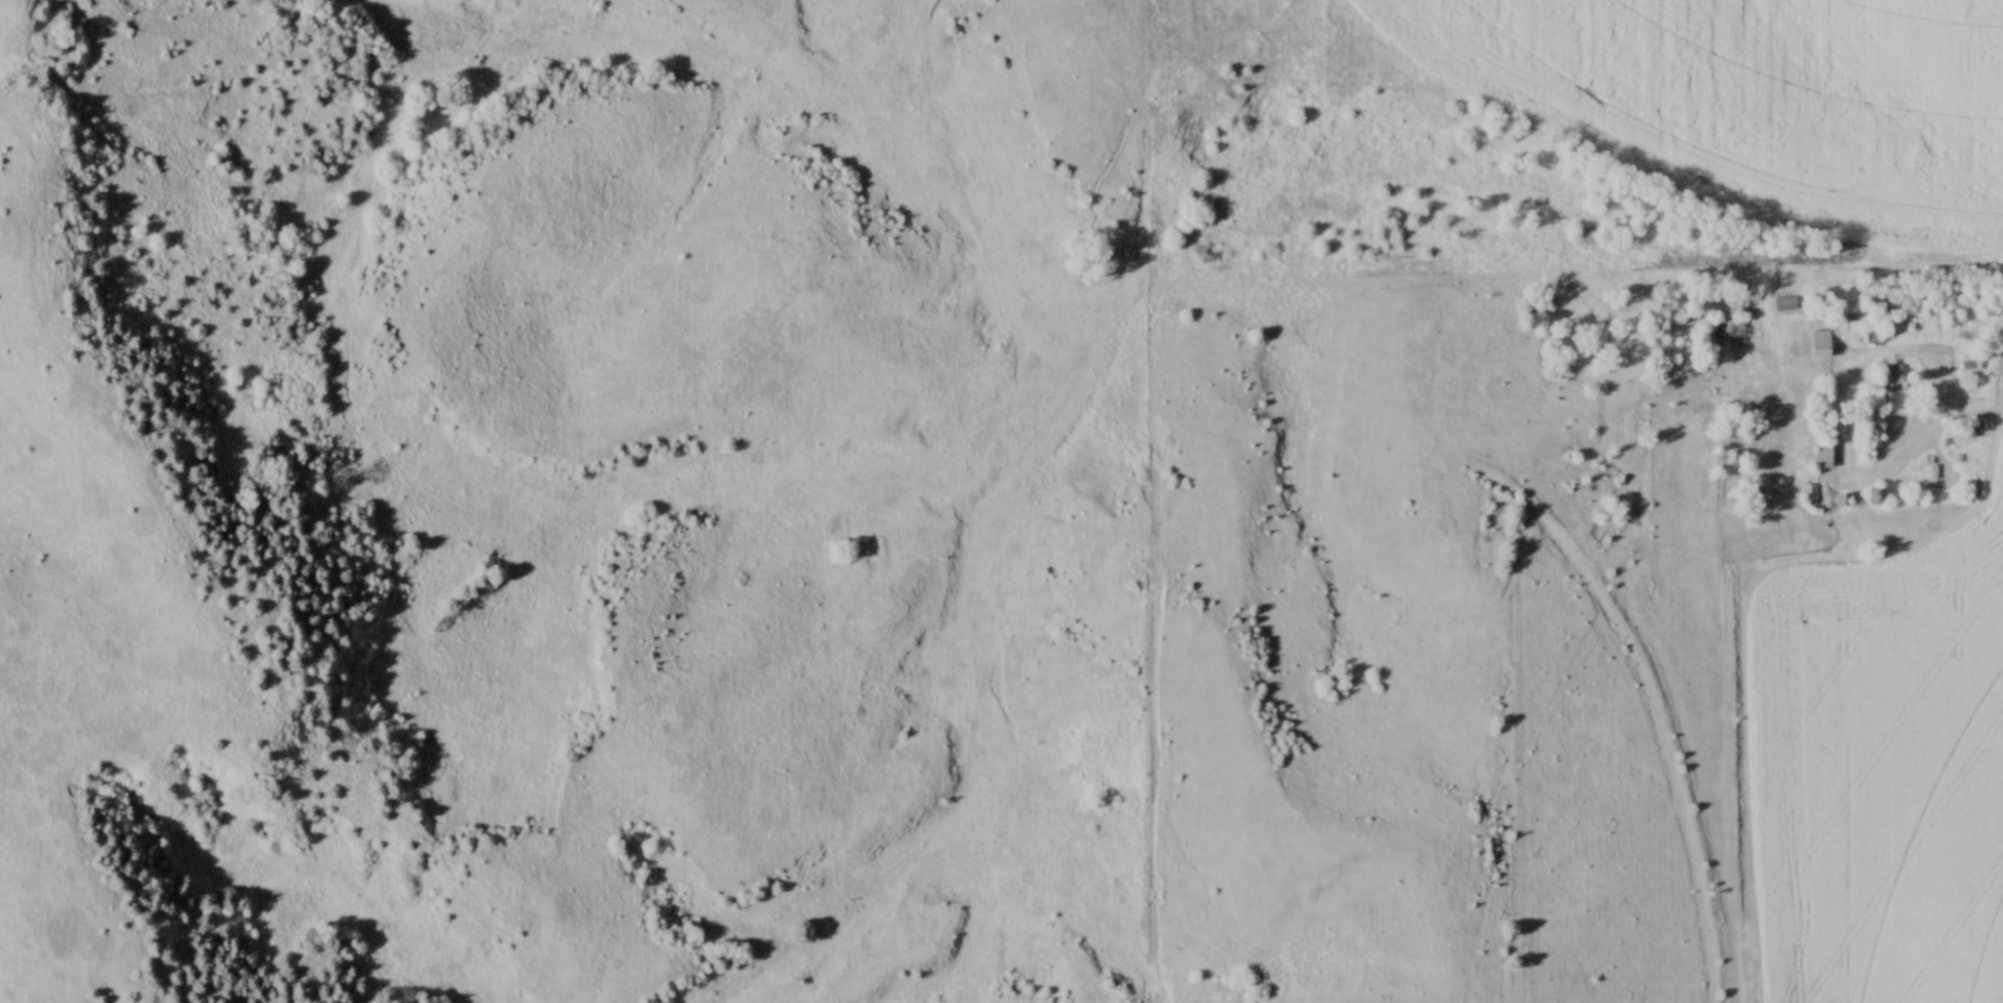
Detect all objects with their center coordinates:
building: (1786, 303)
building: (1821, 344)
building: (1969, 365)
building: (1890, 380)
building: (1770, 399)
building: (1873, 421)
road: (1955, 421)
building: (1823, 450)
building: (1810, 496)

